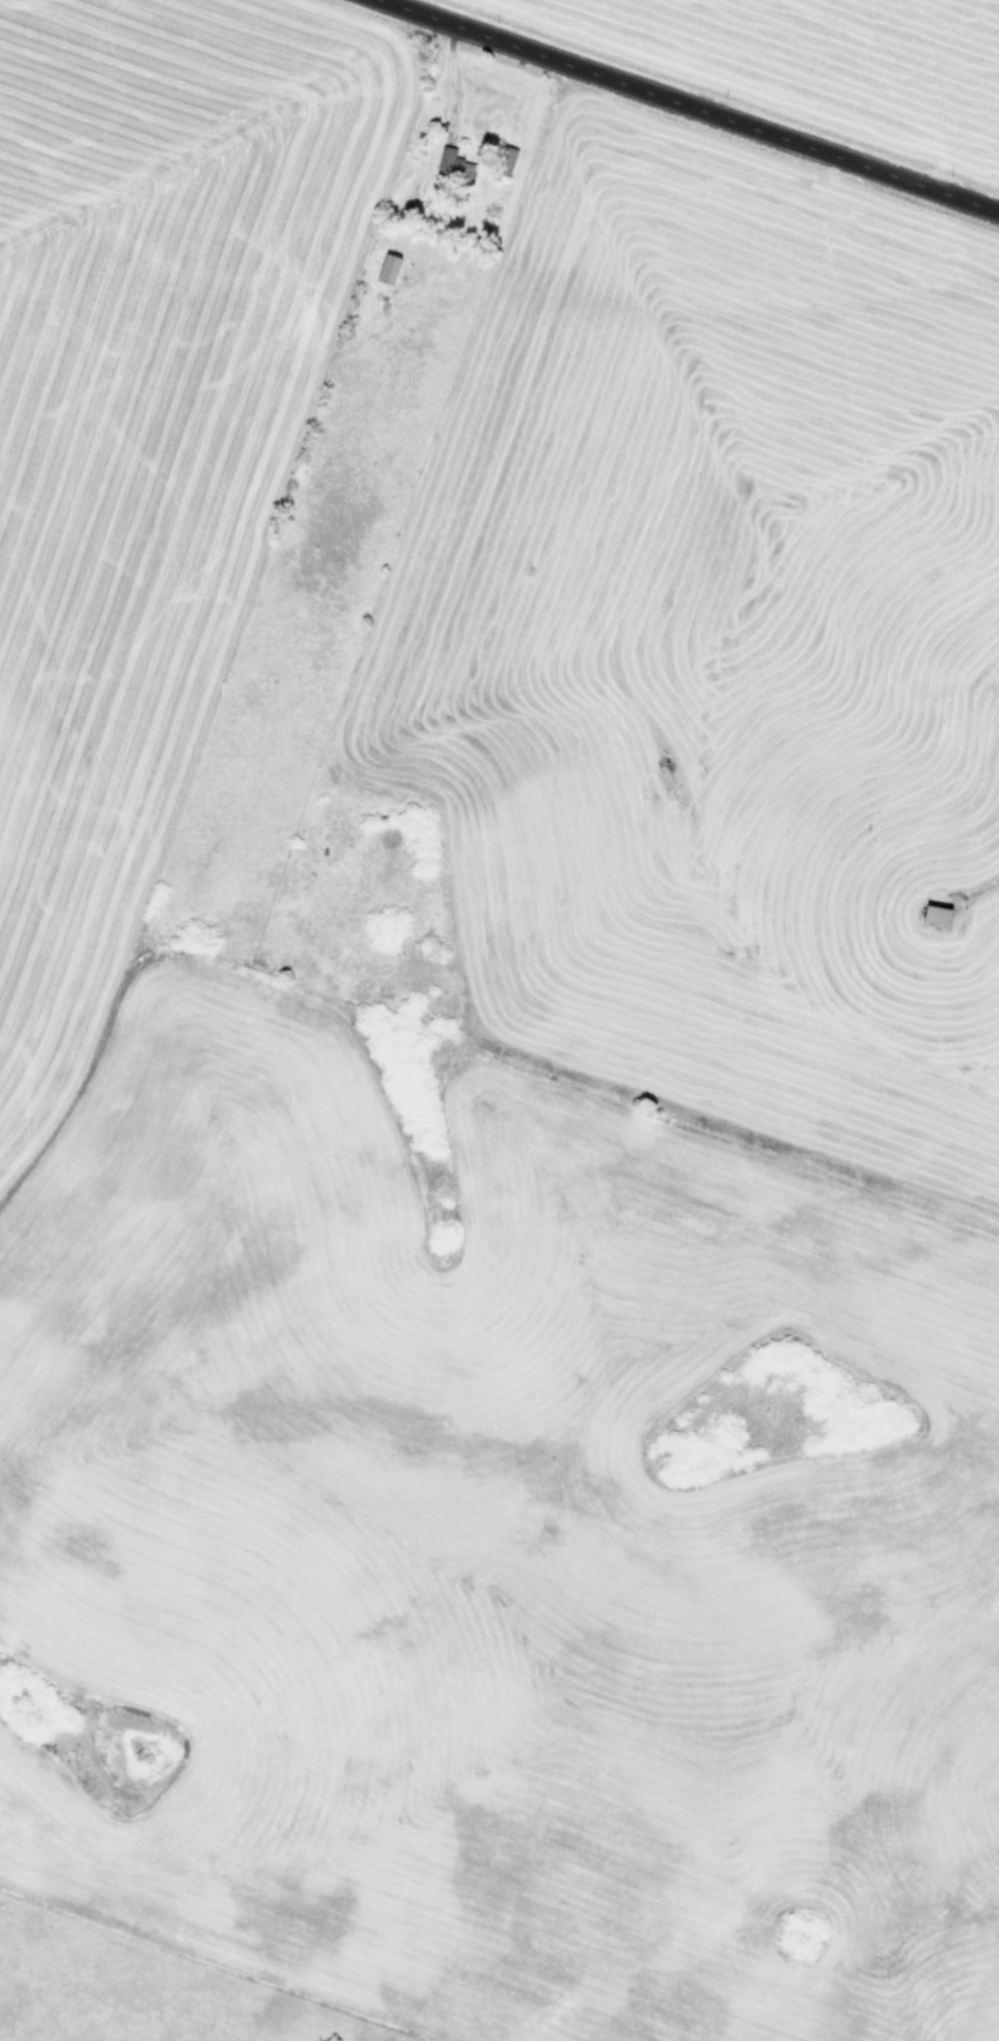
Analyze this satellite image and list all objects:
road: (691, 106)
building: (507, 154)
building: (390, 267)
building: (930, 915)
crop: (499, 1020)

